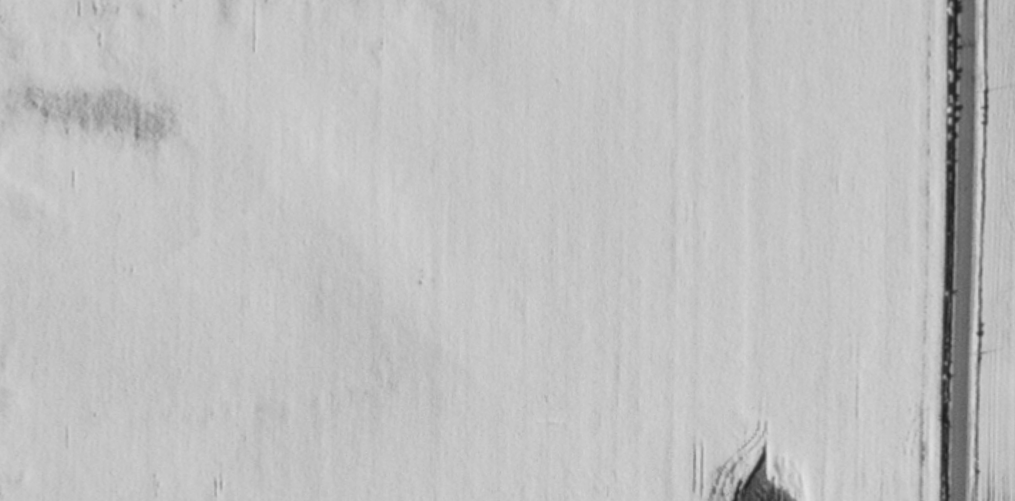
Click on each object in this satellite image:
road: (961, 250)

